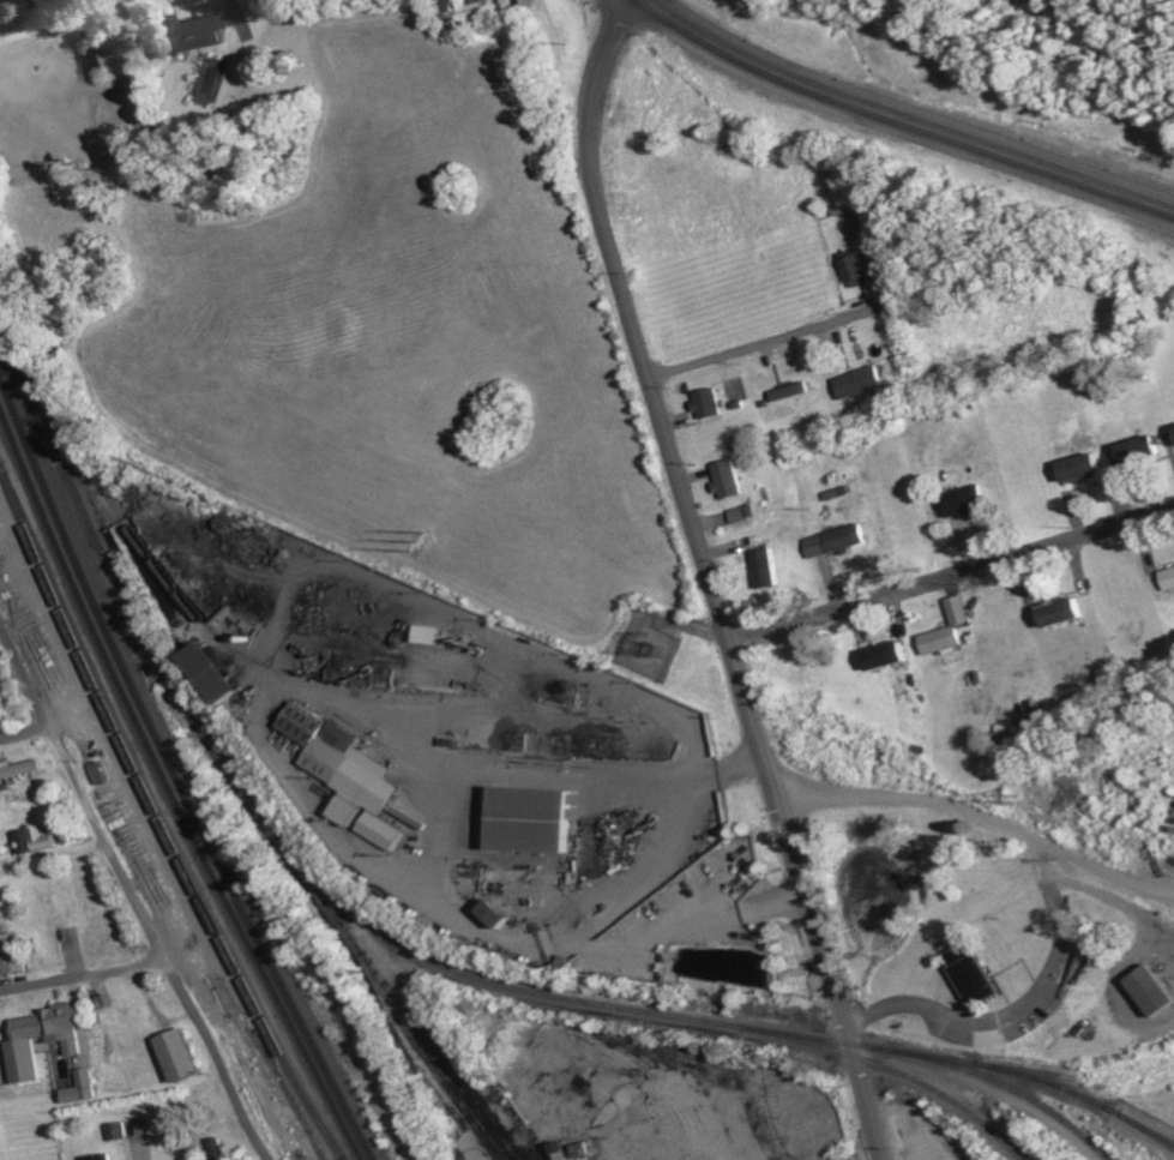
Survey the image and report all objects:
building: (182, 35)
building: (92, 58)
road: (904, 120)
building: (839, 208)
building: (855, 269)
road: (772, 339)
building: (861, 383)
building: (791, 392)
building: (710, 404)
building: (1140, 451)
building: (1082, 468)
building: (729, 480)
building: (967, 503)
building: (741, 515)
building: (837, 541)
building: (767, 569)
road: (710, 577)
road: (952, 577)
building: (1168, 579)
building: (958, 611)
building: (1061, 613)
building: (428, 635)
building: (940, 641)
power substation: (648, 645)
railway: (231, 648)
building: (886, 656)
building: (216, 674)
building: (301, 722)
road: (25, 734)
building: (353, 768)
building: (19, 769)
railway: (177, 774)
railway: (171, 787)
building: (349, 812)
railway: (162, 816)
building: (531, 822)
building: (383, 831)
road: (981, 834)
building: (36, 840)
road: (133, 889)
building: (498, 915)
railway: (362, 921)
building: (11, 952)
building: (959, 954)
road: (85, 978)
building: (975, 981)
railway: (379, 987)
building: (1151, 992)
railway: (433, 1042)
building: (23, 1047)
building: (177, 1054)
railway: (949, 1063)
railway: (1086, 1076)
railway: (1044, 1081)
building: (80, 1087)
building: (116, 1131)
railway: (1154, 1134)
building: (218, 1148)
building: (100, 1156)

